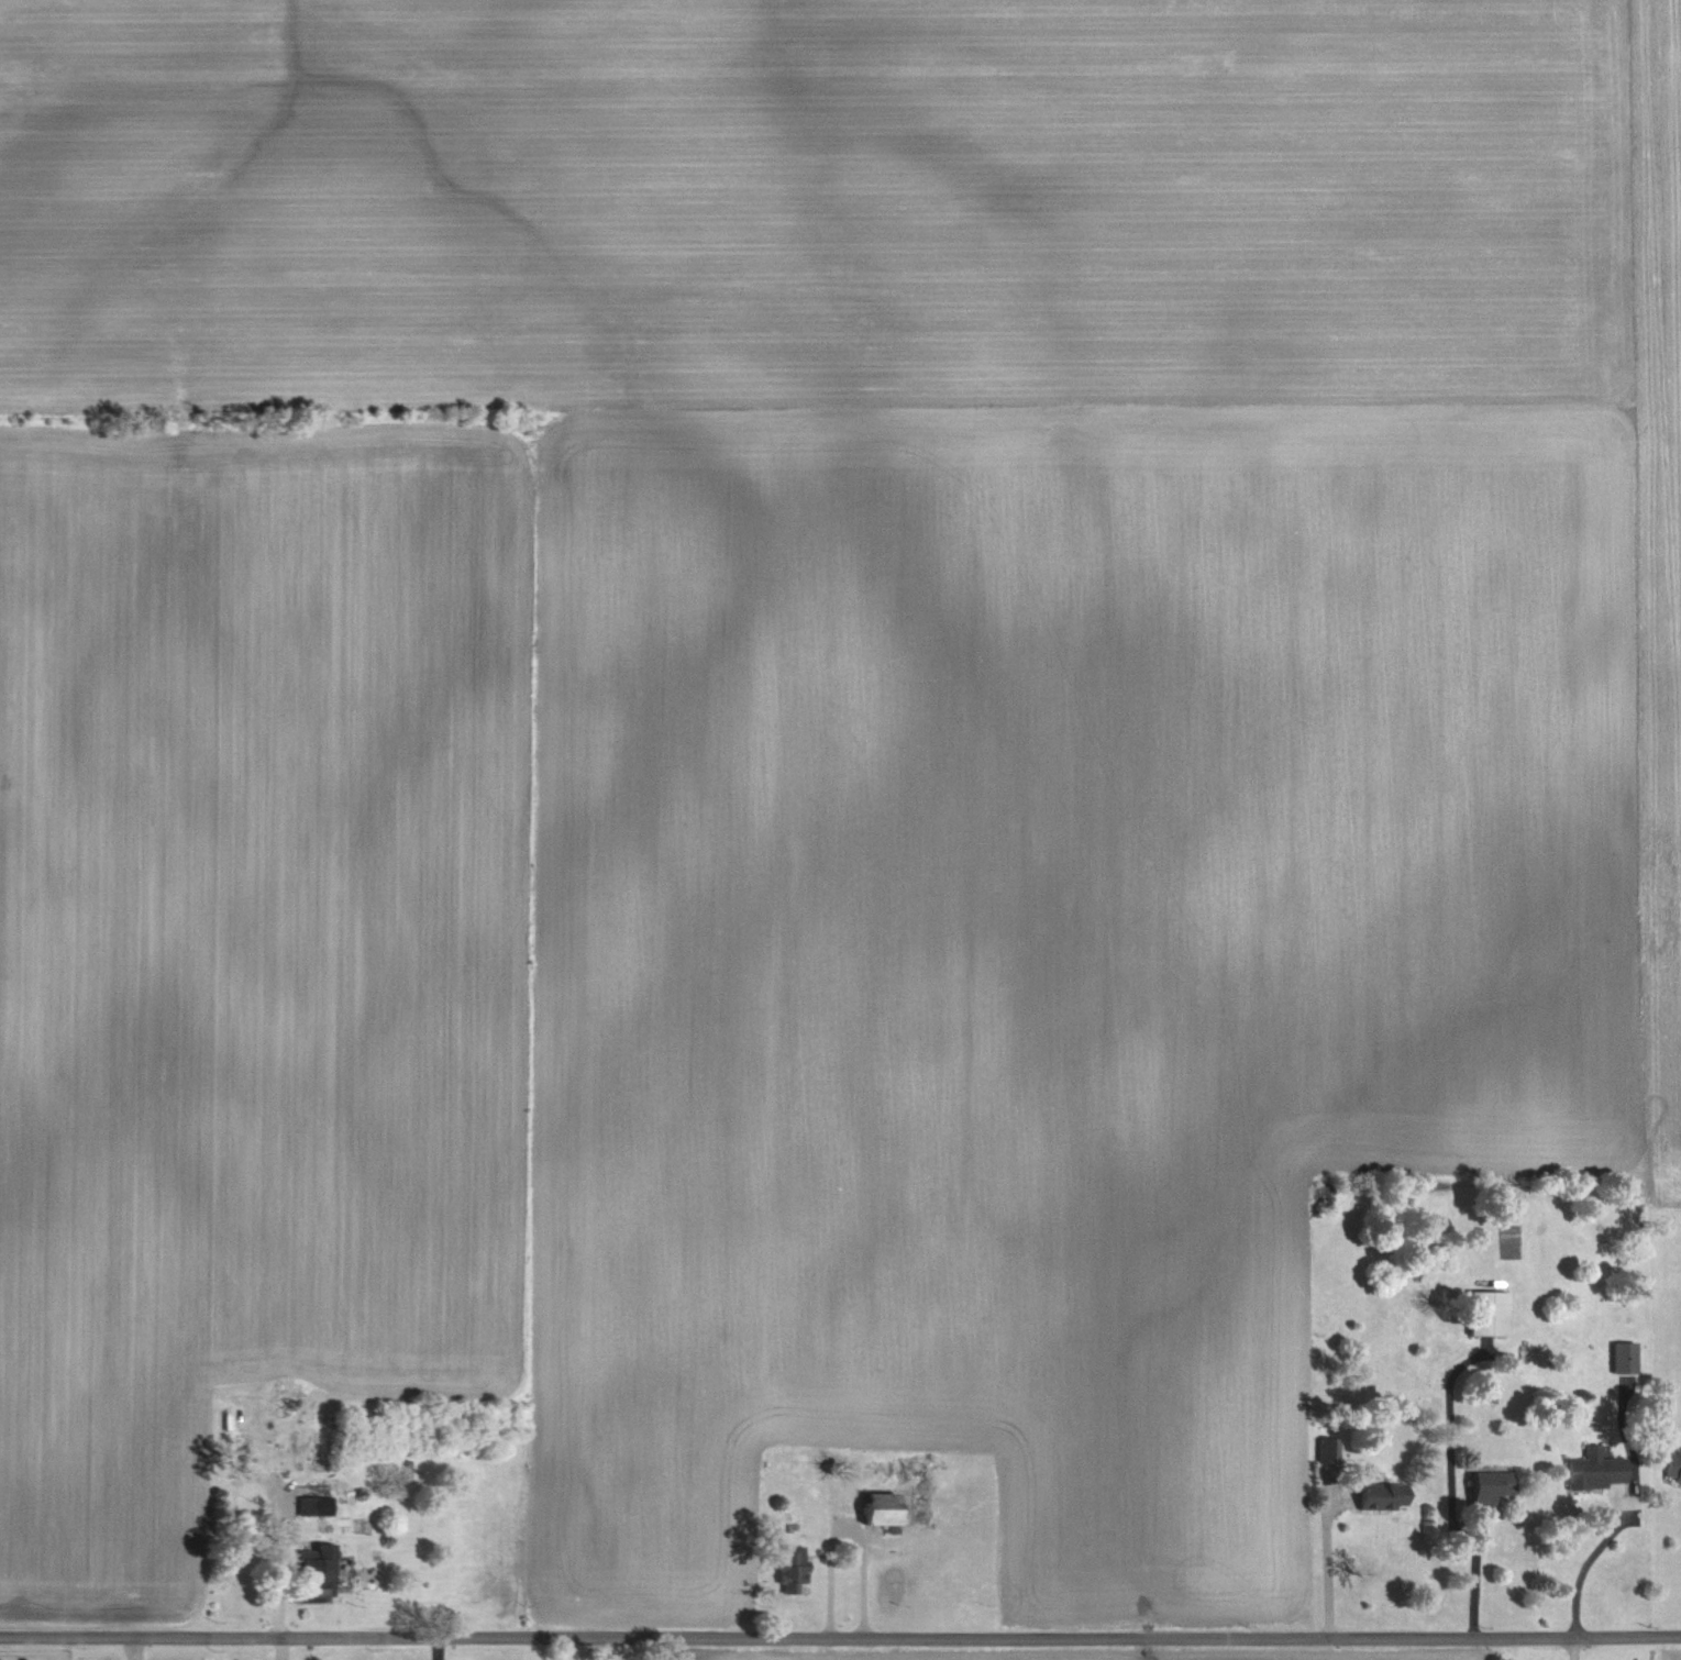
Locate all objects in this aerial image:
building: (1490, 1314)
building: (1625, 1359)
building: (1329, 1451)
building: (1673, 1467)
building: (1596, 1471)
building: (1491, 1490)
building: (1382, 1498)
building: (308, 1505)
building: (882, 1509)
road: (844, 1532)
road: (1580, 1563)
building: (792, 1570)
road: (1326, 1571)
building: (318, 1573)
road: (1473, 1581)
road: (840, 1638)

